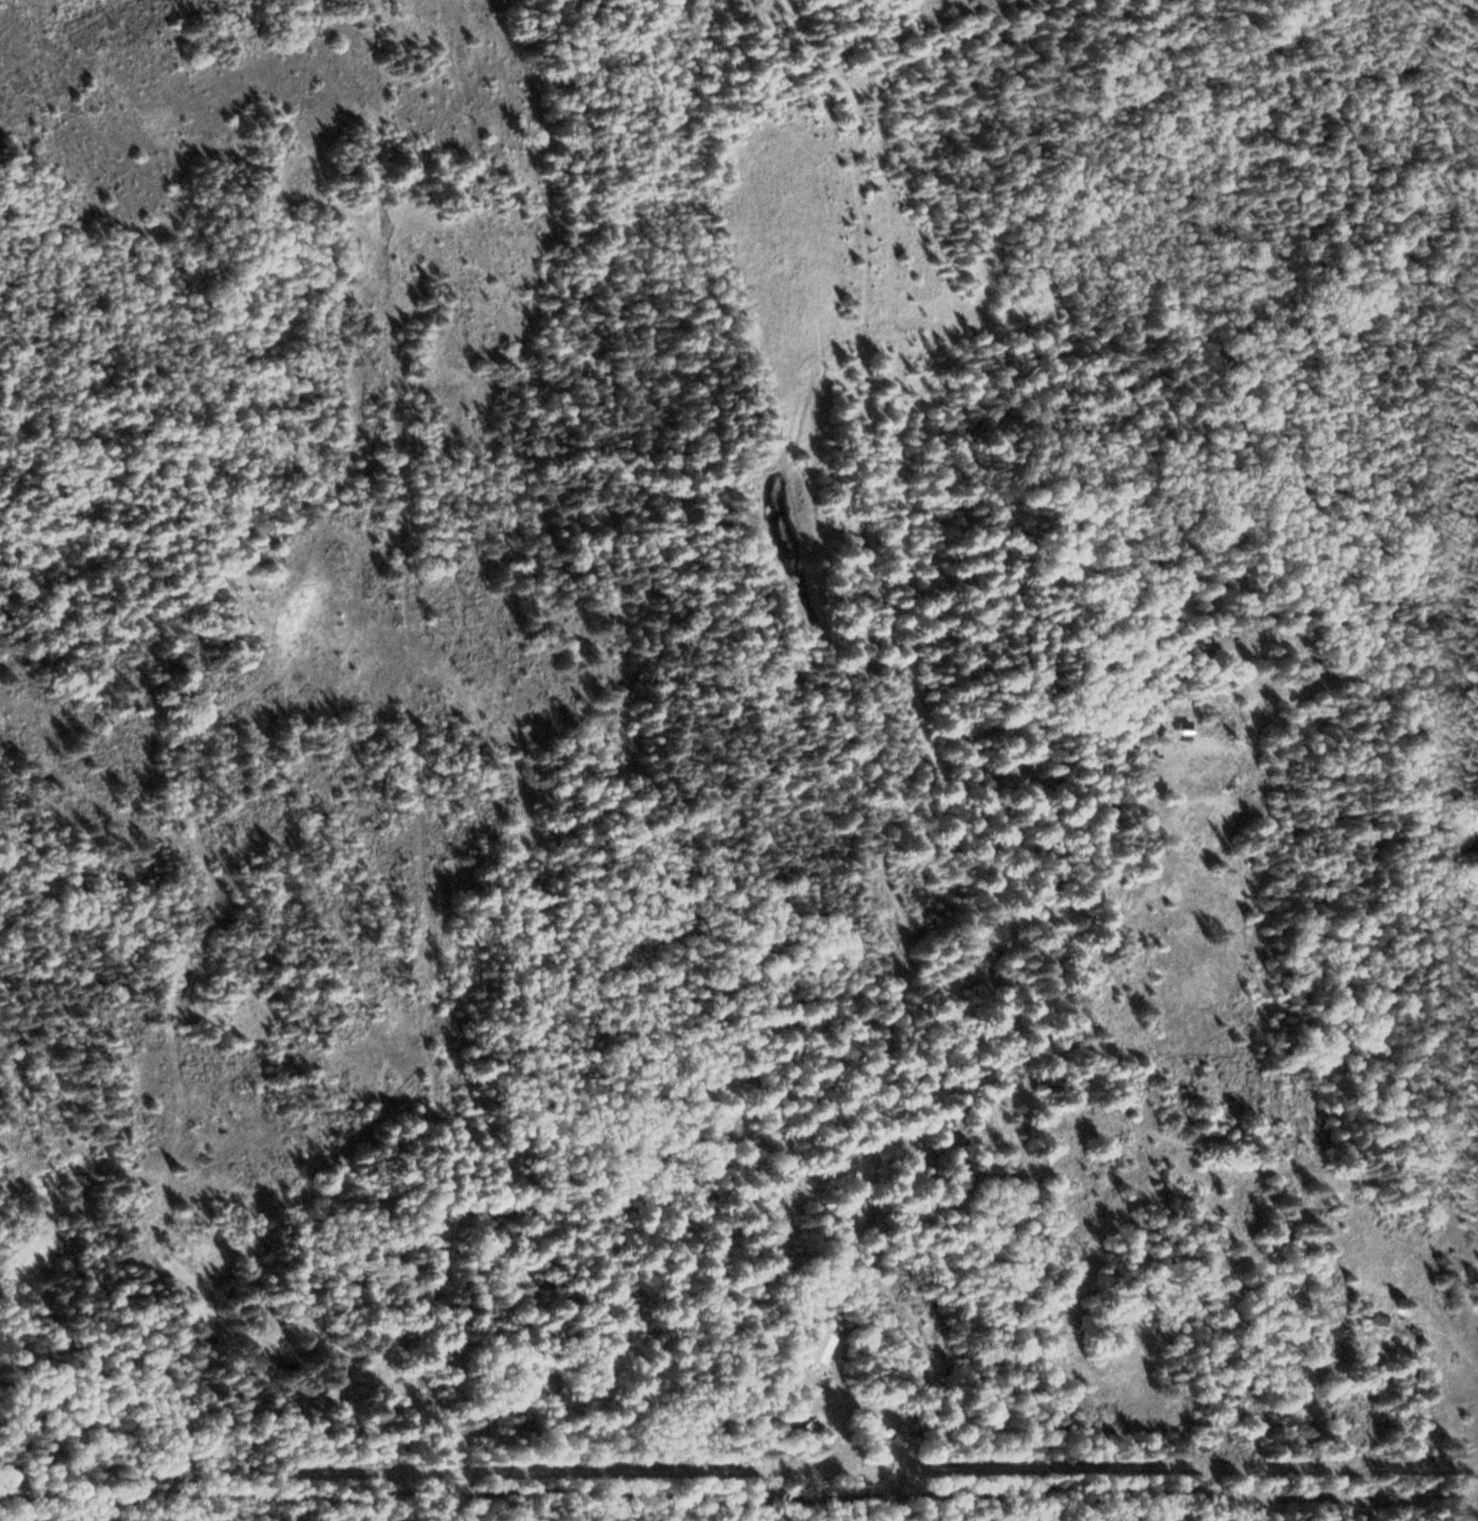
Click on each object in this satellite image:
building: (1470, 1238)
building: (1373, 1320)
building: (212, 1344)
building: (818, 1349)
road: (739, 1496)

